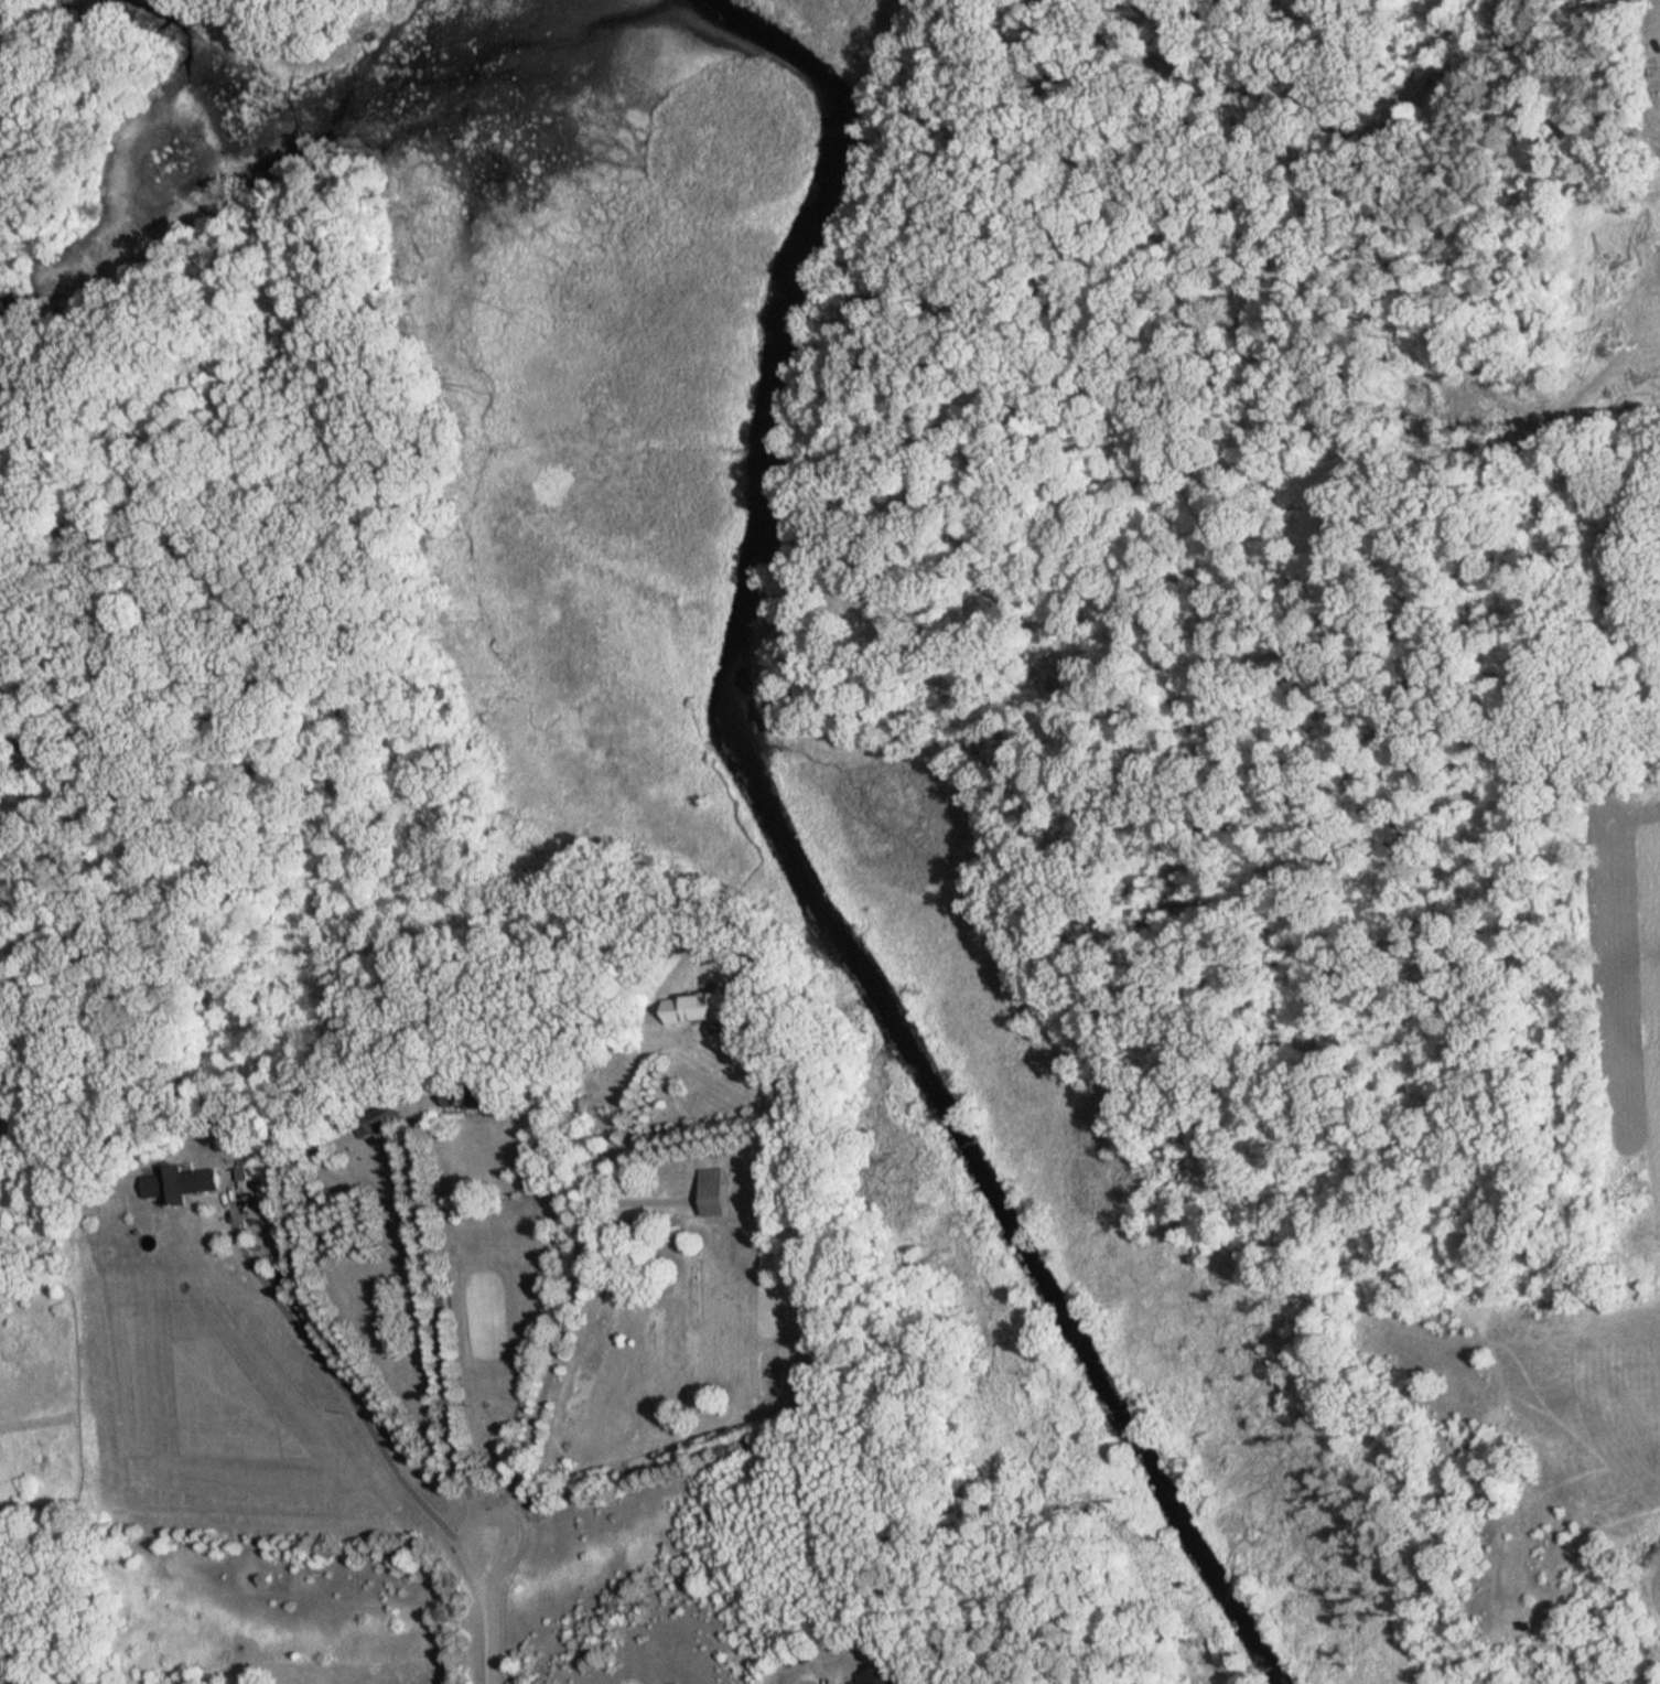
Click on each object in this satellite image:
building: (700, 1007)
building: (470, 1096)
building: (381, 1119)
building: (171, 1187)
building: (711, 1191)
road: (567, 1291)
road: (441, 1323)
road: (345, 1387)
road: (486, 1608)
road: (808, 1667)
building: (875, 1675)

